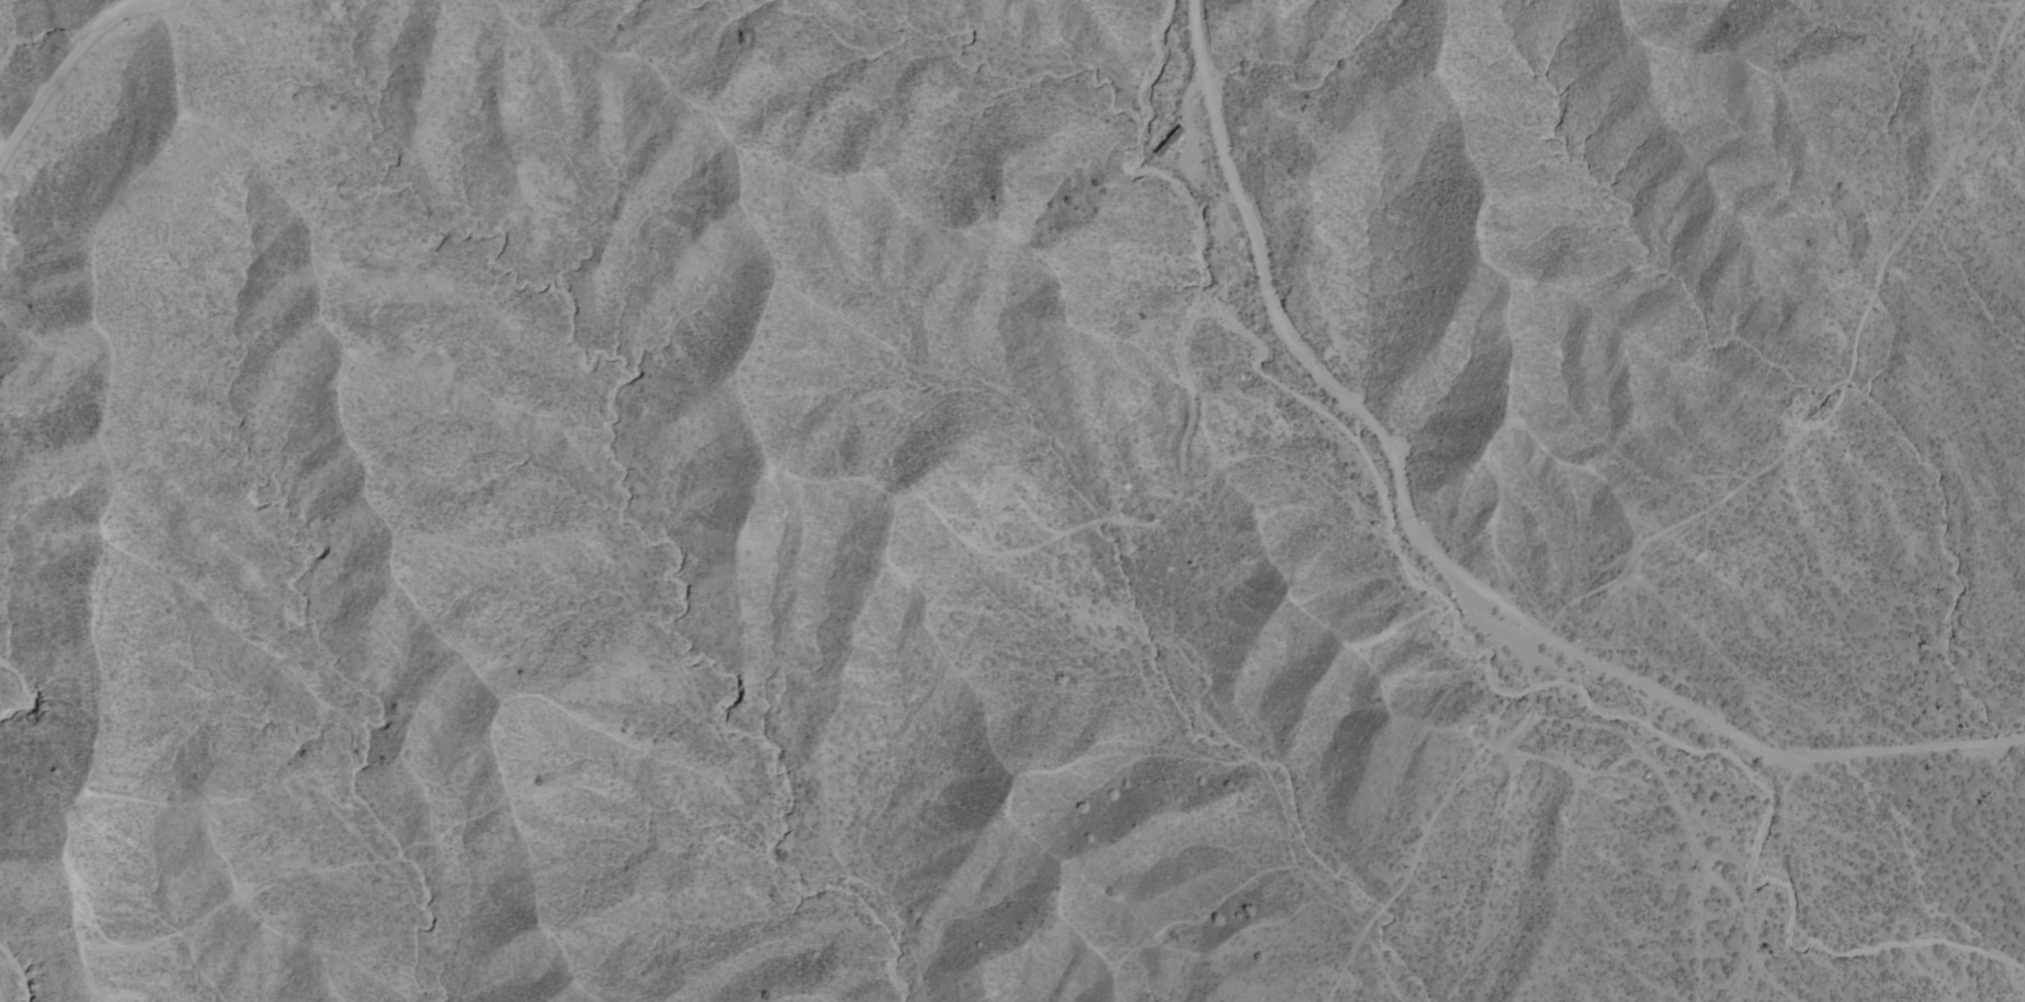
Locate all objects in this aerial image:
road: (63, 74)
road: (1443, 569)
road: (1757, 873)

